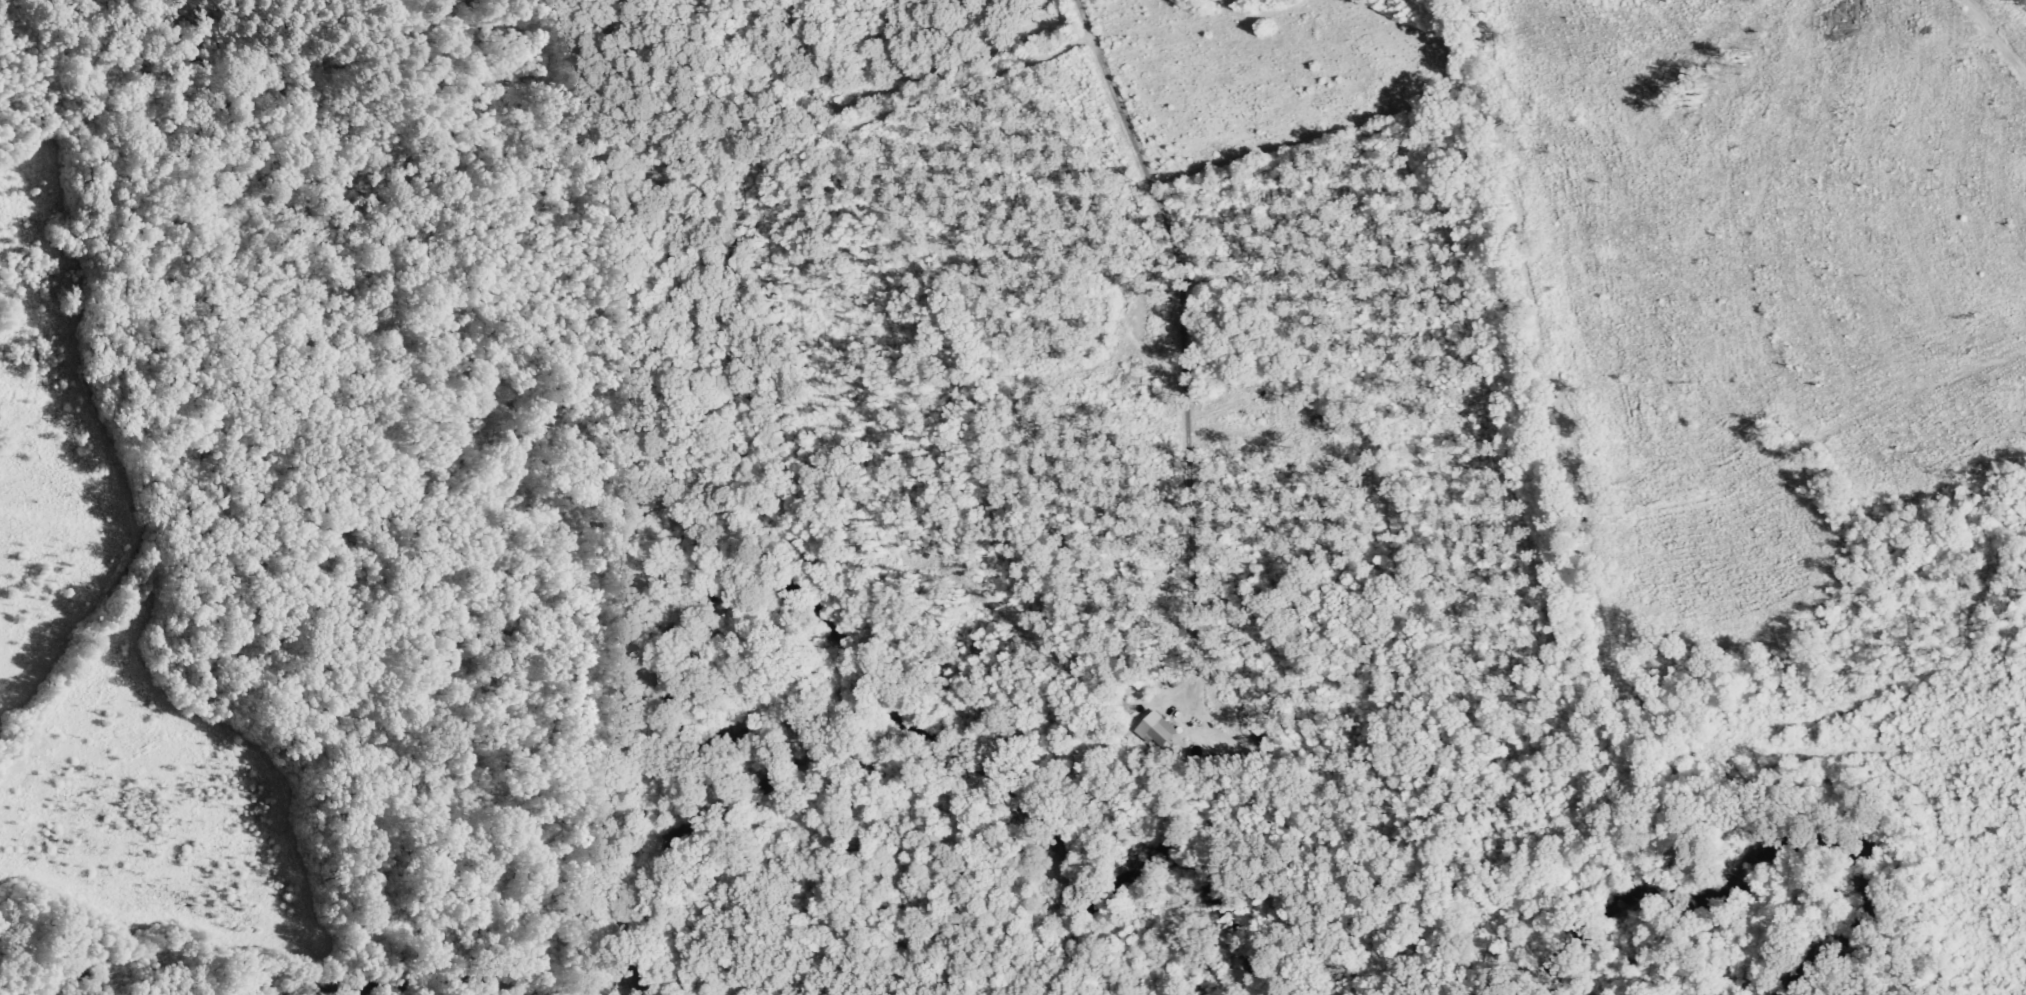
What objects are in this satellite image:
road: (1185, 335)
building: (1155, 731)

